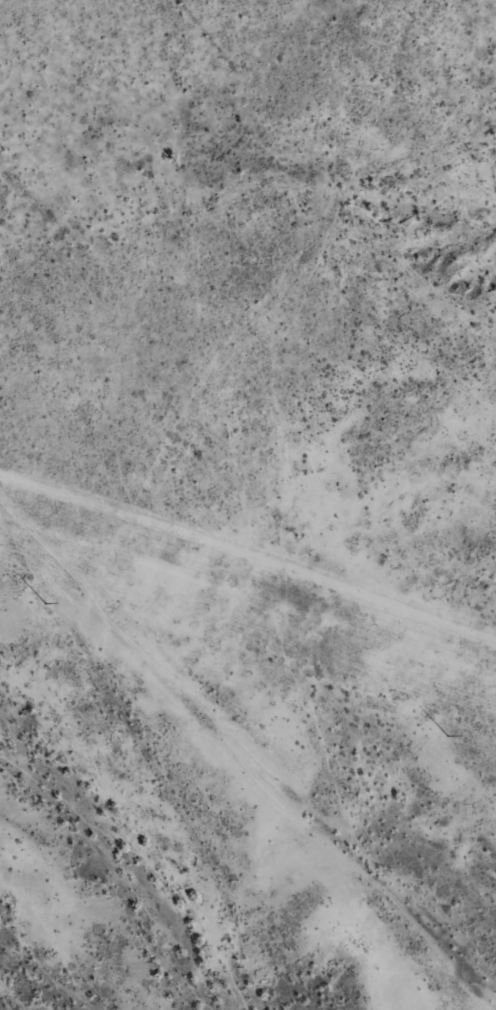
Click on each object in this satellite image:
power tower: (45, 603)
power tower: (447, 736)

